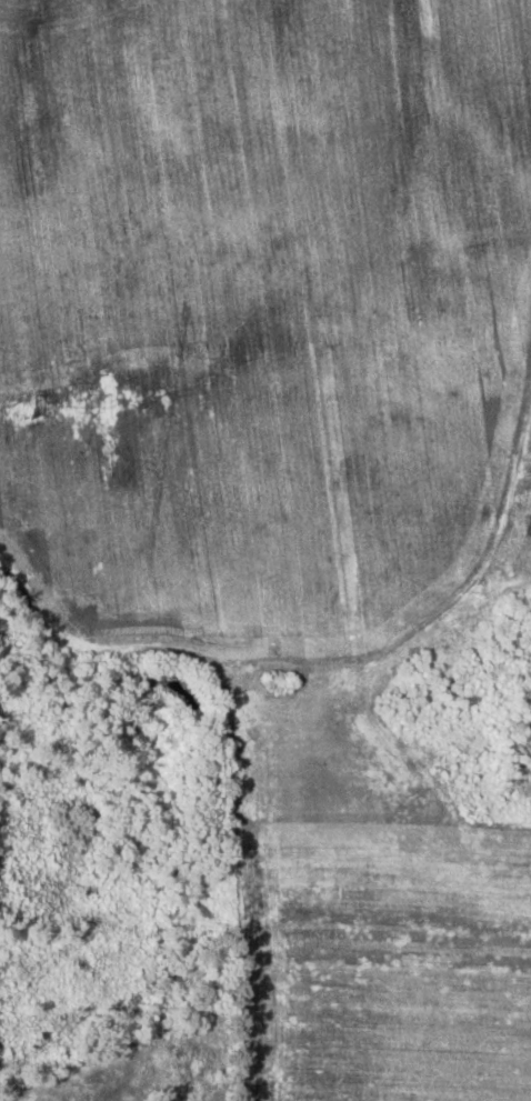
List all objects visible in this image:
park: (279, 674)

